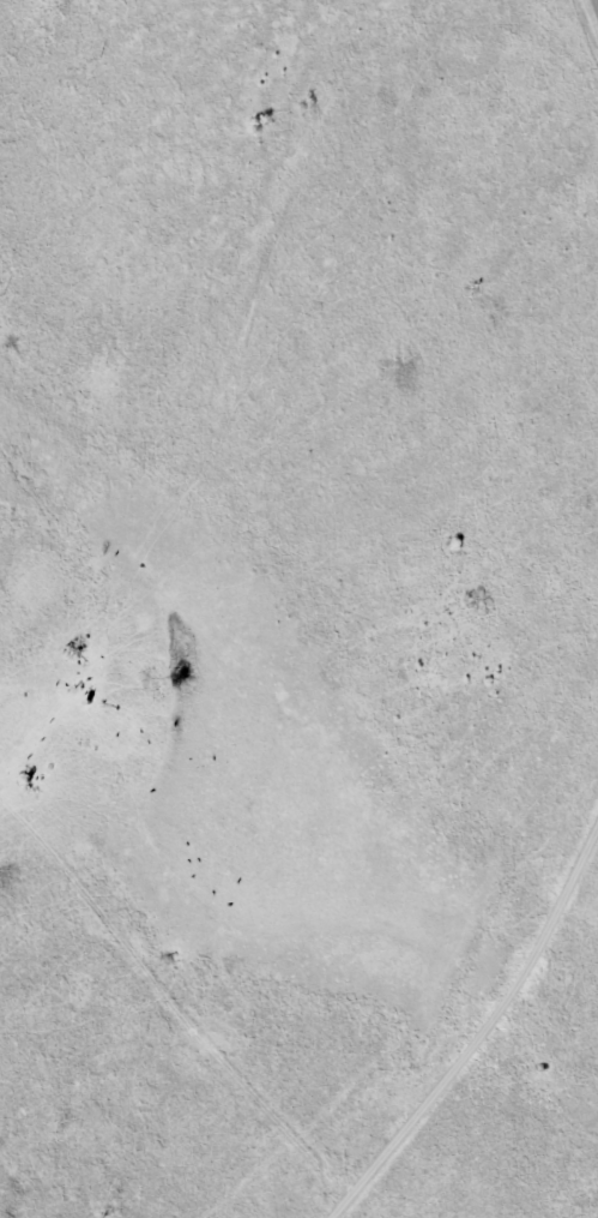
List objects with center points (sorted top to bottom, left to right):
road: (483, 1055)

